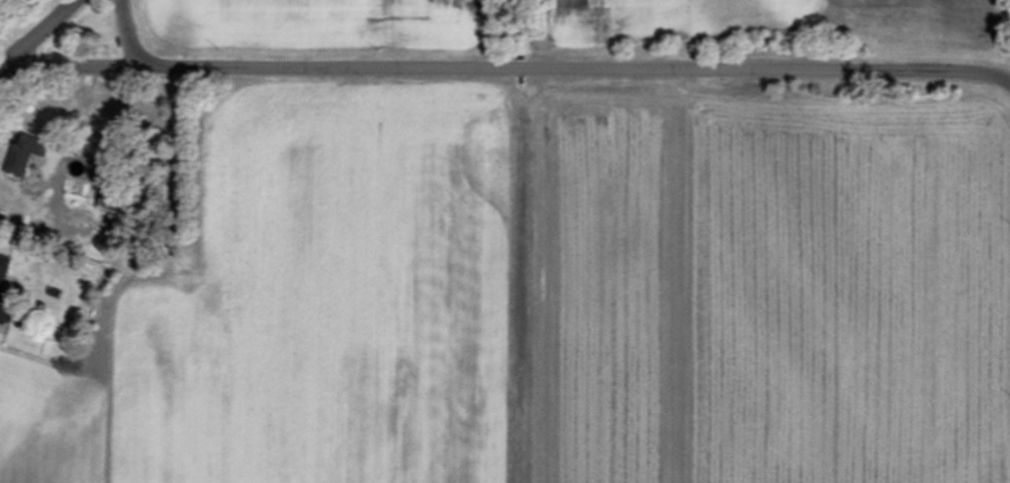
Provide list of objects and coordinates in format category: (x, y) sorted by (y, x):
road: (38, 30)
road: (129, 35)
road: (2, 62)
road: (73, 64)
road: (576, 67)
building: (25, 154)
building: (110, 202)
building: (3, 269)

